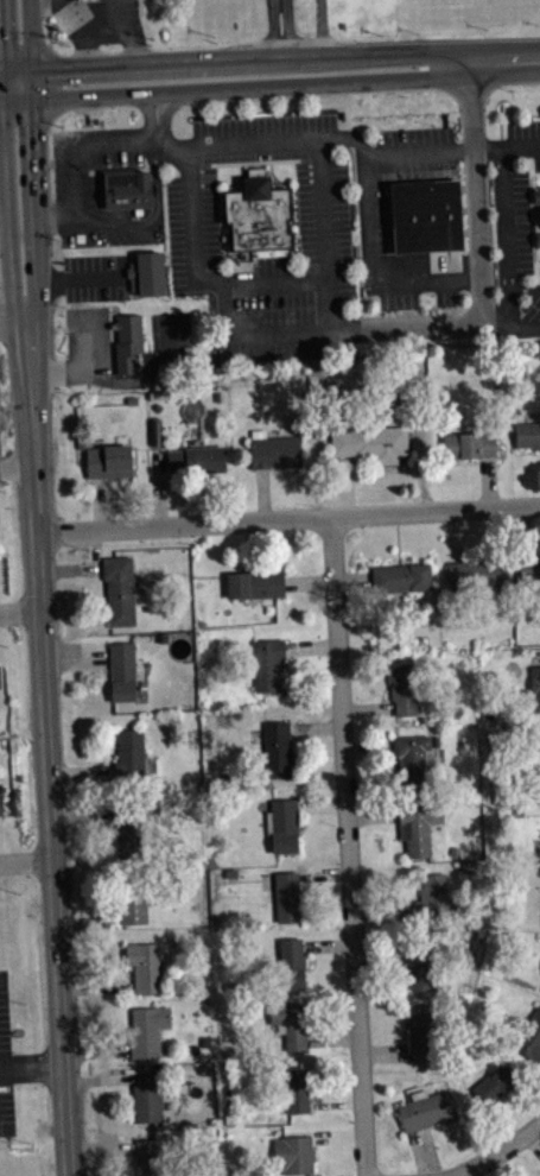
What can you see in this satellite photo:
building: (83, 0)
gas station: (83, 0)
road: (50, 2)
parking lot: (131, 8)
road: (46, 20)
road: (101, 21)
road: (281, 29)
road: (324, 29)
road: (129, 31)
road: (78, 32)
road: (28, 33)
road: (250, 59)
road: (506, 62)
road: (14, 68)
traffic signals: (30, 68)
road: (30, 82)
road: (252, 87)
road: (0, 91)
road: (14, 96)
traffic signals: (31, 96)
traffic signals: (1, 97)
road: (158, 118)
road: (80, 151)
parking lot: (398, 175)
parking lot: (109, 186)
building: (128, 189)
building: (536, 195)
road: (36, 208)
road: (6, 210)
road: (4, 213)
building: (259, 216)
road: (373, 217)
building: (426, 217)
road: (193, 229)
parking lot: (267, 236)
road: (325, 238)
road: (510, 238)
building: (538, 238)
road: (481, 249)
building: (146, 273)
road: (81, 285)
road: (280, 285)
road: (12, 318)
building: (127, 342)
building: (527, 435)
building: (369, 442)
building: (468, 444)
building: (273, 450)
building: (195, 460)
building: (108, 461)
road: (18, 468)
road: (288, 517)
building: (529, 568)
building: (475, 574)
building: (401, 577)
building: (255, 583)
building: (119, 589)
road: (19, 611)
building: (267, 663)
building: (123, 669)
building: (1, 684)
building: (404, 689)
building: (535, 690)
building: (277, 745)
road: (46, 747)
building: (131, 752)
building: (411, 755)
building: (1, 804)
building: (284, 826)
building: (127, 827)
building: (414, 828)
road: (349, 846)
road: (26, 860)
building: (286, 896)
building: (428, 900)
building: (133, 903)
building: (291, 962)
building: (421, 963)
building: (144, 966)
building: (290, 1023)
building: (424, 1028)
building: (147, 1030)
building: (529, 1037)
road: (31, 1061)
parking lot: (6, 1066)
building: (493, 1085)
building: (296, 1088)
building: (146, 1096)
building: (426, 1109)
road: (495, 1152)
building: (293, 1153)
building: (151, 1156)

